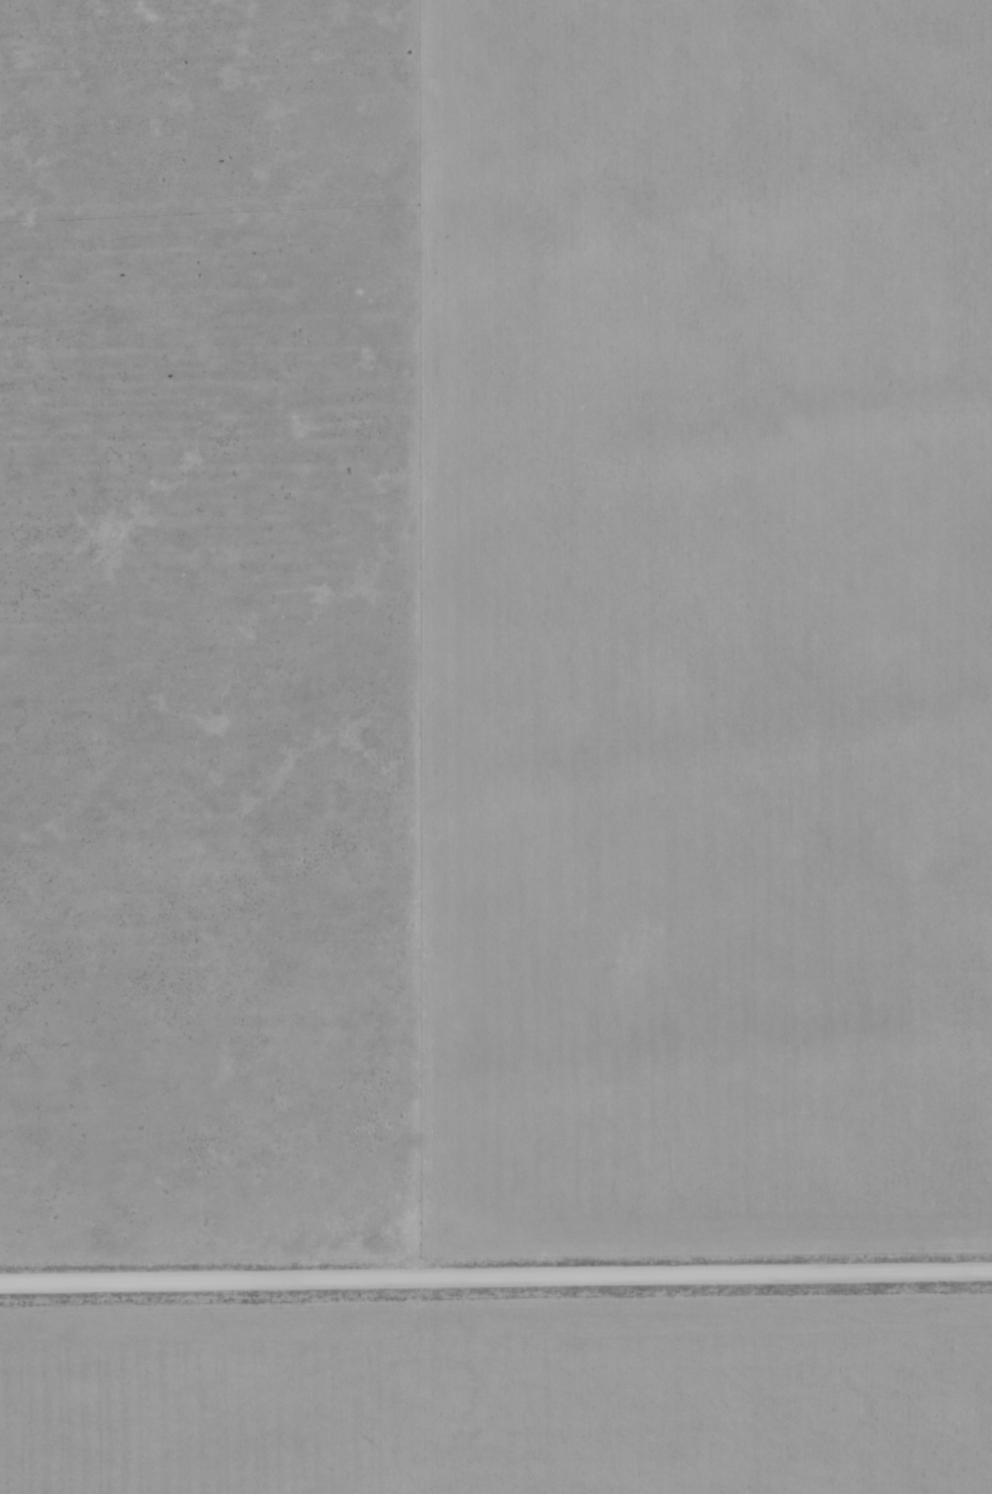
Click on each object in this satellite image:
road: (495, 1282)

